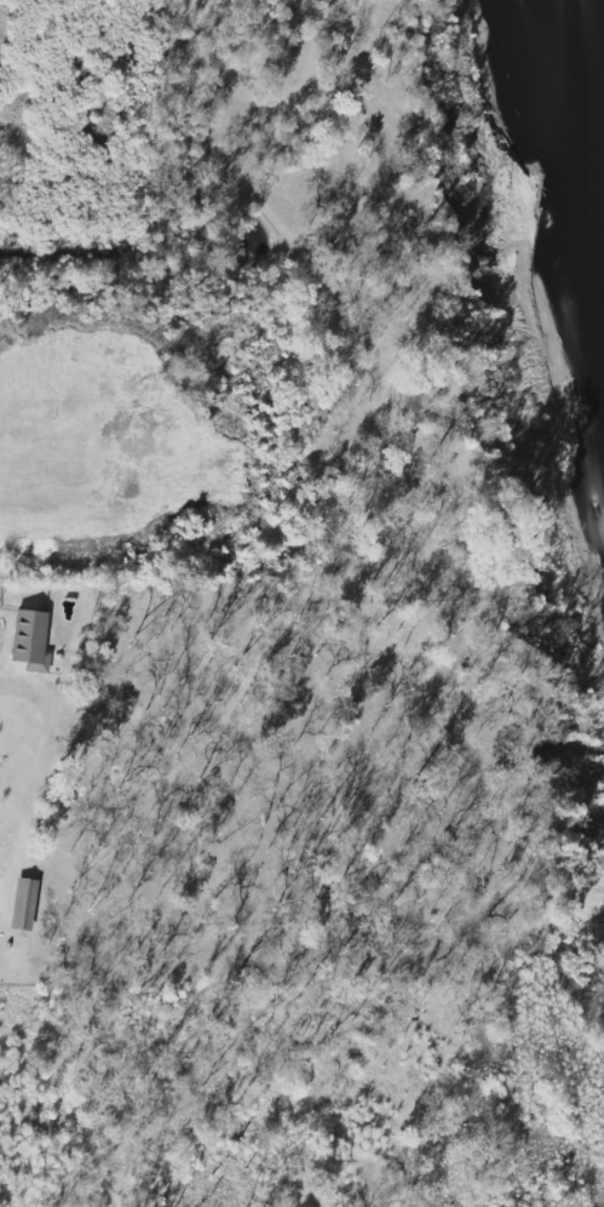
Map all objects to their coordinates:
building: (29, 641)
road: (40, 754)
building: (22, 905)

